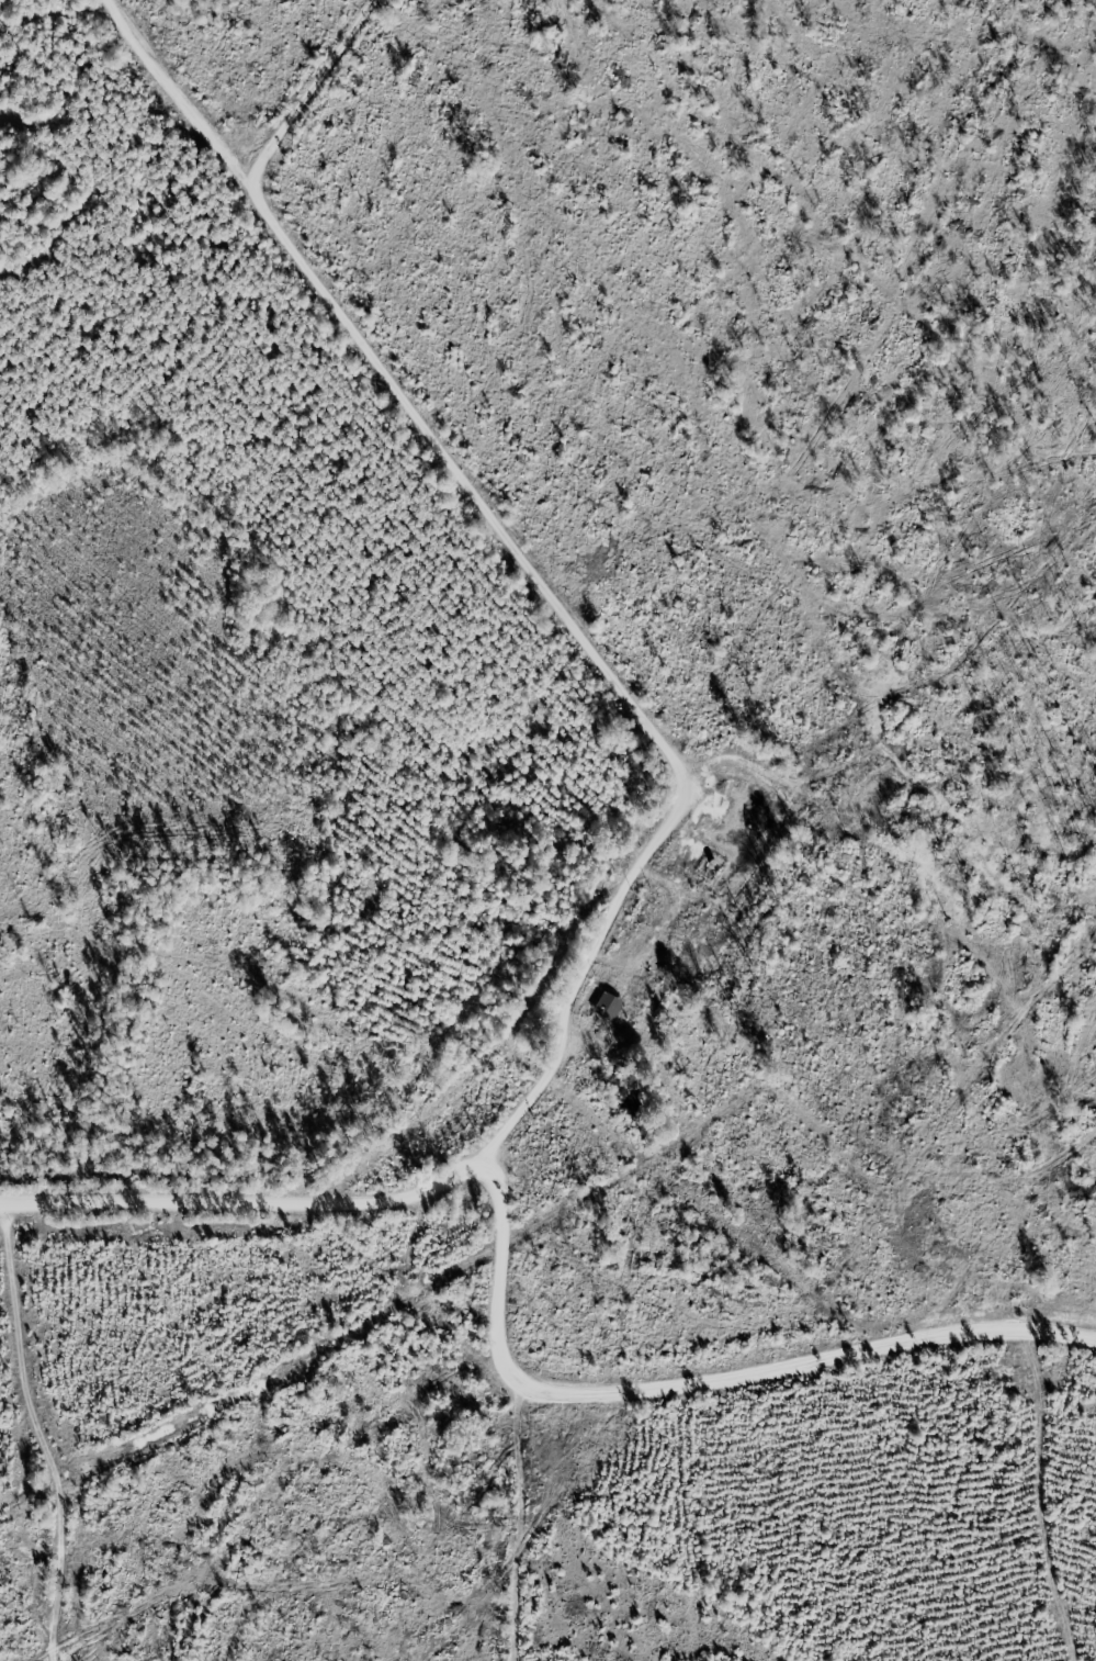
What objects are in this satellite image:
road: (530, 571)
building: (610, 1007)
road: (246, 1204)
road: (693, 1371)
road: (39, 1433)

